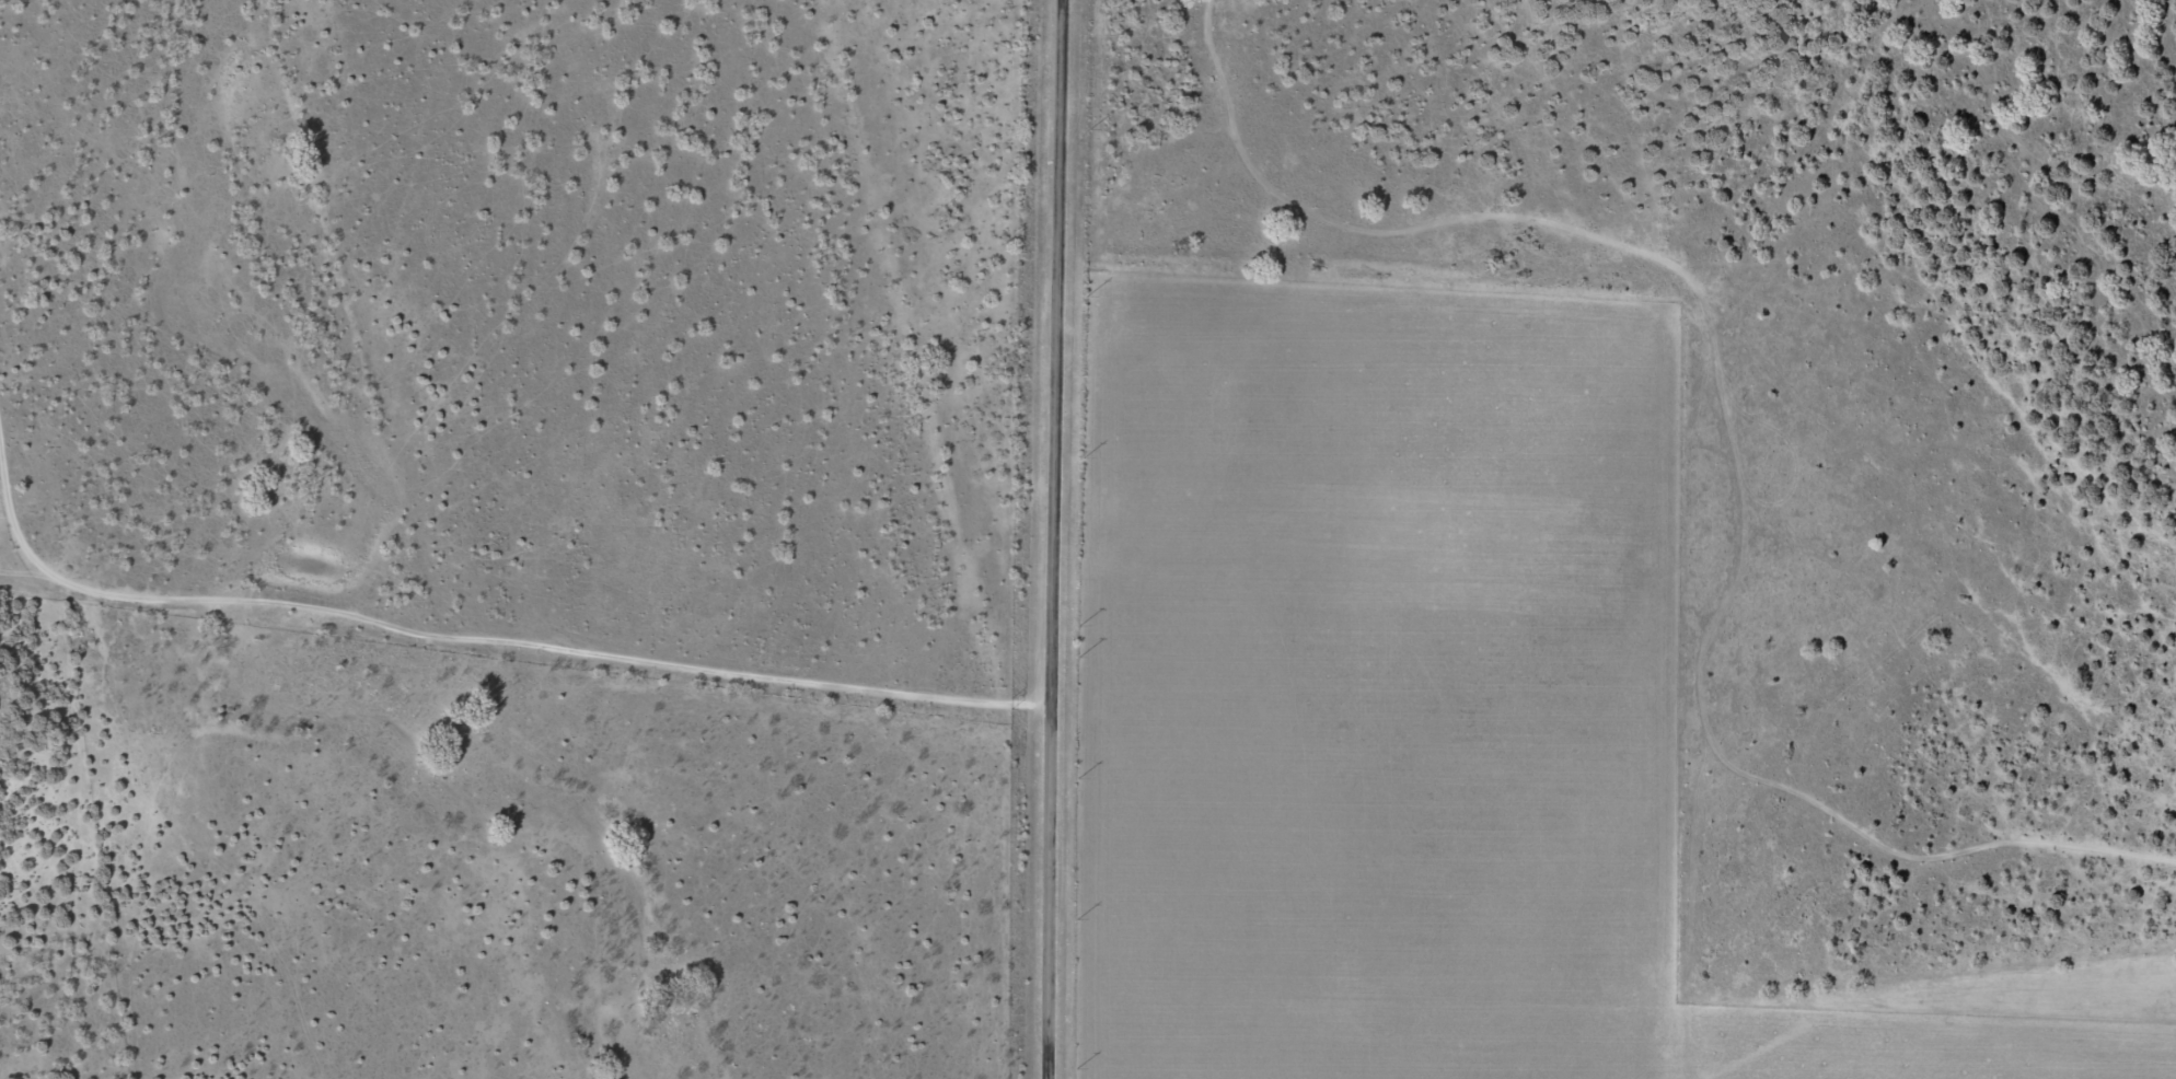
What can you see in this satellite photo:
road: (1057, 538)

